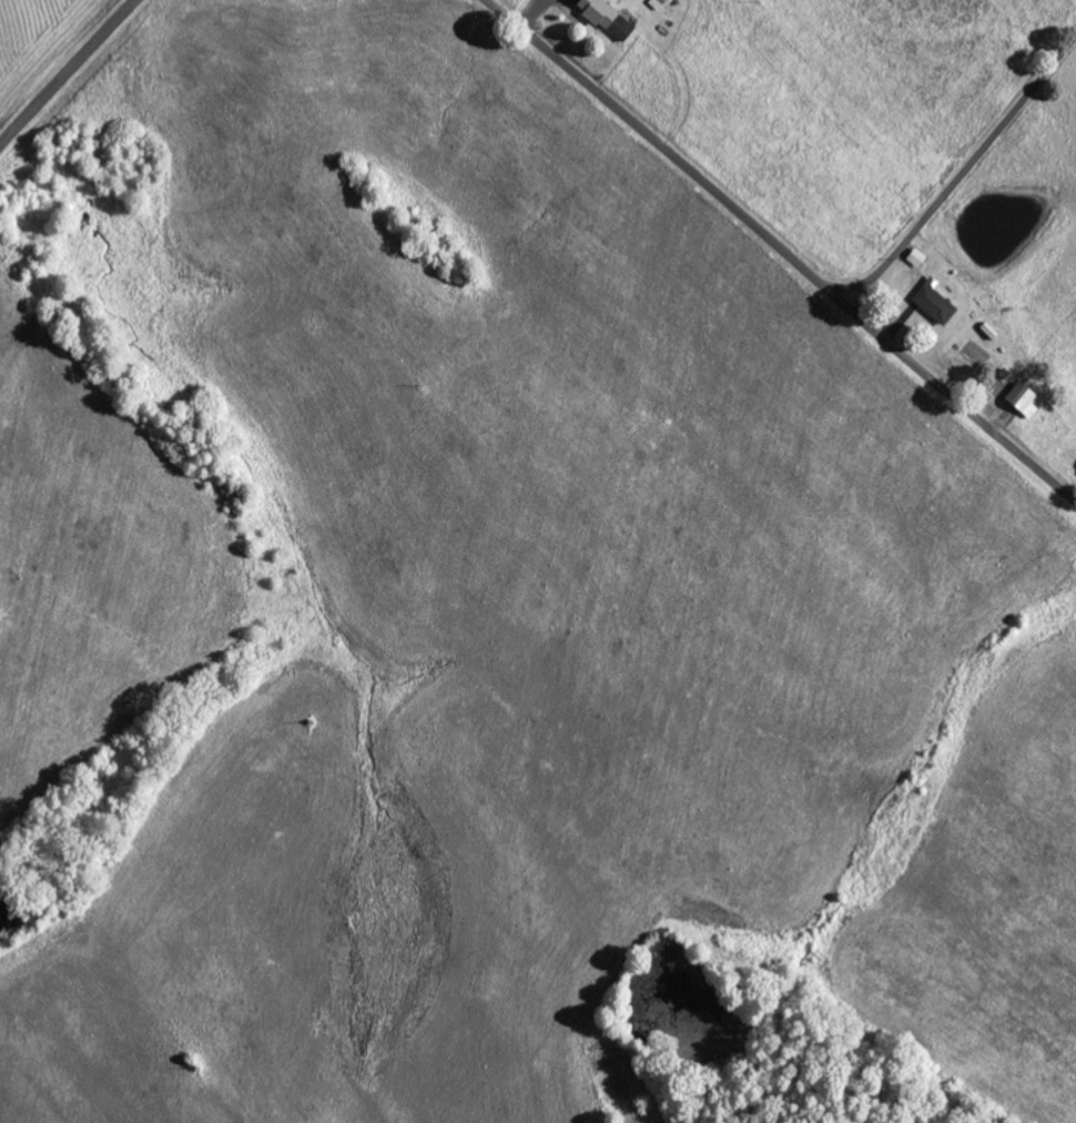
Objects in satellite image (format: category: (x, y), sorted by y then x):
building: (656, 2)
building: (607, 17)
road: (68, 72)
road: (962, 171)
road: (782, 249)
building: (915, 256)
building: (933, 301)
building: (1023, 398)

